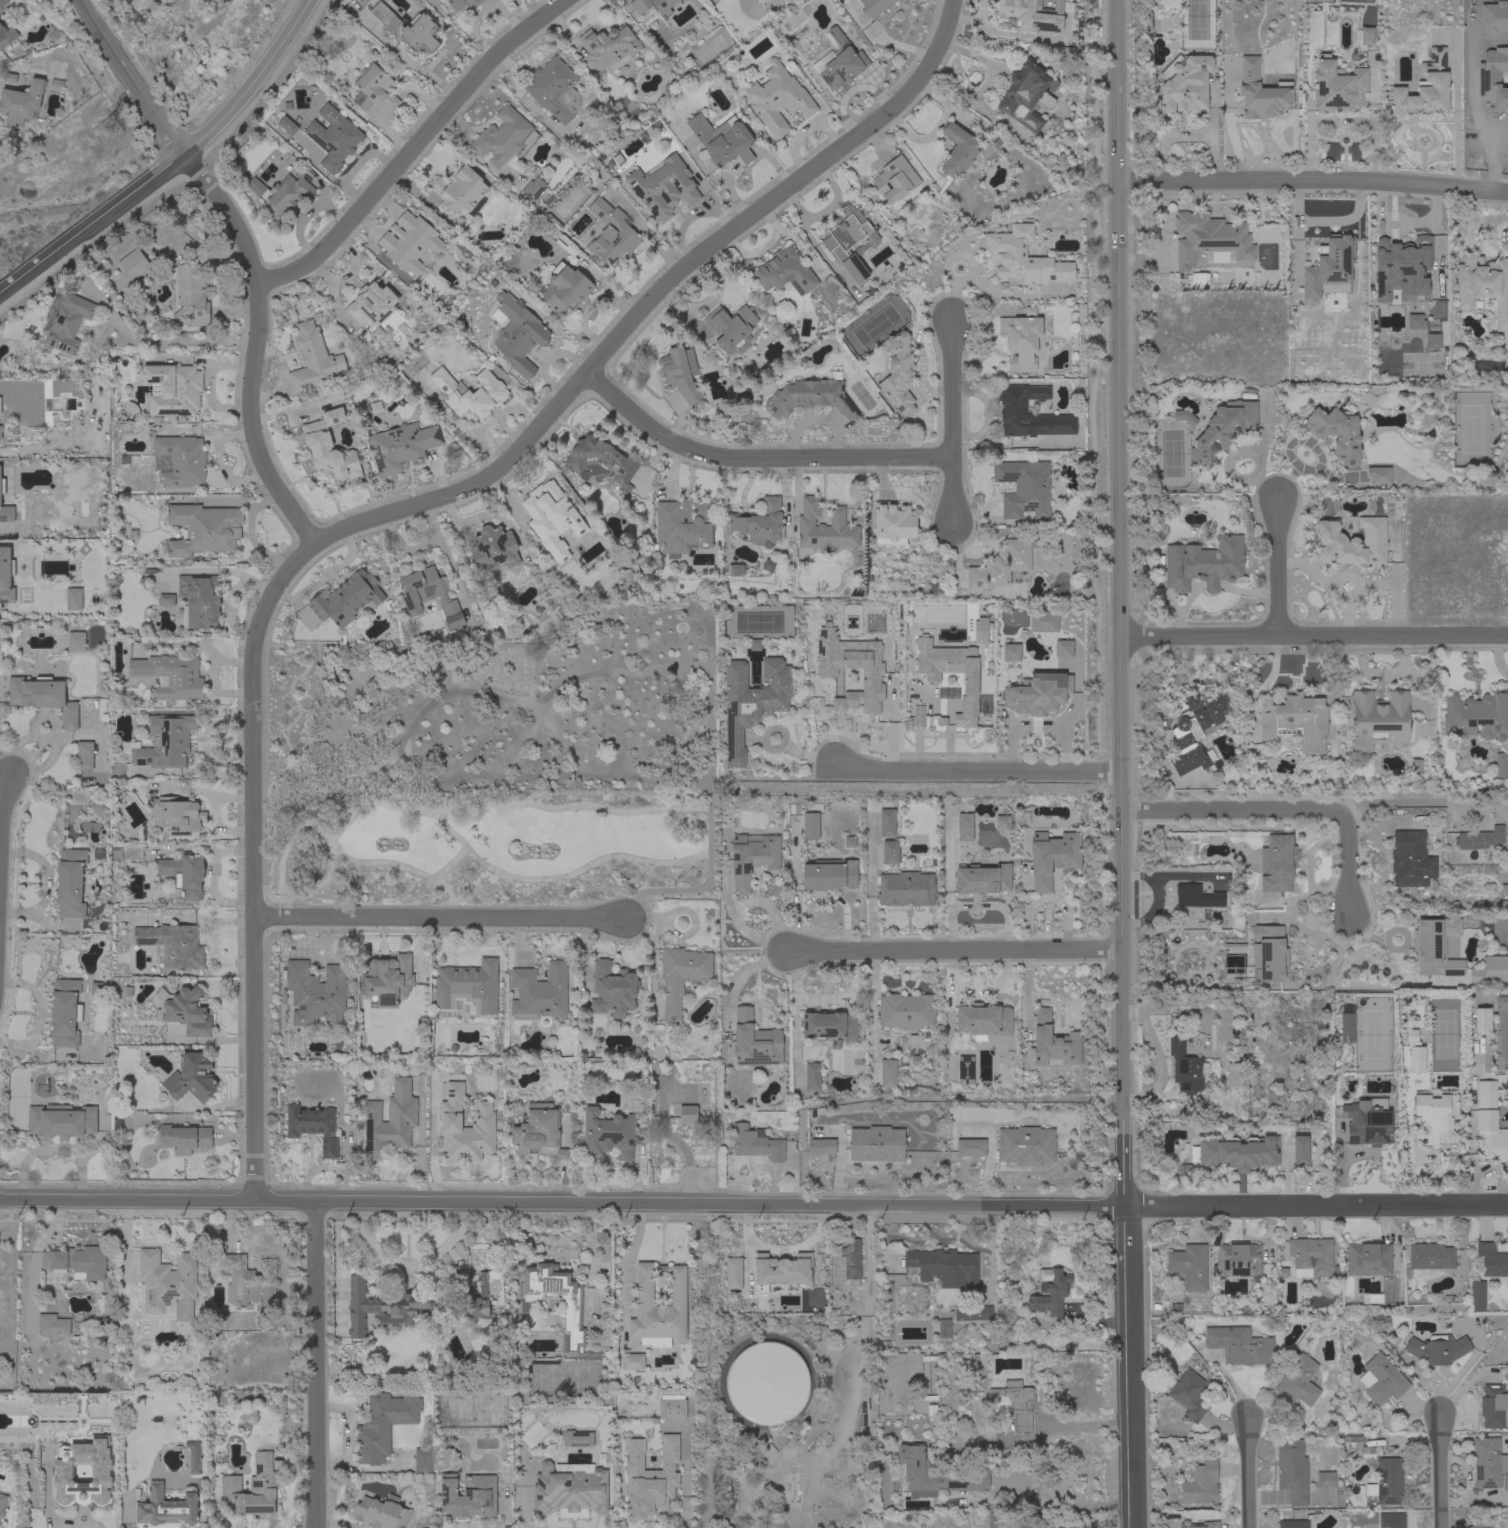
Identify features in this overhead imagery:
building: (2, 2)
building: (462, 3)
building: (874, 7)
building: (662, 11)
building: (1027, 15)
building: (408, 29)
building: (6, 36)
building: (1364, 36)
building: (609, 47)
building: (838, 61)
road: (130, 77)
building: (1184, 84)
building: (1337, 86)
building: (1424, 89)
building: (554, 90)
building: (375, 91)
building: (1260, 92)
building: (1027, 95)
building: (777, 99)
building: (21, 103)
road: (1340, 120)
building: (287, 126)
power tower: (106, 132)
building: (333, 138)
building: (504, 138)
building: (722, 141)
road: (412, 146)
building: (957, 151)
road: (172, 161)
building: (894, 180)
road: (1311, 181)
building: (663, 187)
building: (533, 189)
road: (199, 190)
building: (459, 191)
building: (285, 196)
road: (1322, 222)
road: (643, 229)
building: (611, 233)
building: (1210, 239)
building: (849, 241)
building: (408, 243)
building: (1023, 258)
building: (1329, 264)
building: (134, 265)
building: (1401, 268)
building: (784, 273)
building: (1483, 286)
building: (565, 288)
building: (190, 294)
road: (647, 299)
building: (372, 305)
building: (65, 322)
building: (731, 329)
building: (517, 335)
building: (1432, 341)
building: (1025, 342)
building: (312, 360)
building: (679, 373)
building: (898, 373)
building: (172, 389)
building: (470, 393)
building: (810, 397)
building: (1014, 410)
building: (1184, 417)
road: (953, 424)
building: (1223, 429)
building: (1336, 433)
building: (329, 446)
building: (401, 446)
road: (756, 458)
building: (178, 461)
building: (600, 462)
building: (1378, 475)
building: (2, 486)
building: (1024, 488)
building: (6, 514)
building: (551, 519)
building: (760, 523)
building: (893, 524)
building: (683, 526)
building: (824, 528)
building: (203, 530)
building: (1351, 543)
building: (493, 549)
building: (1203, 564)
building: (1000, 565)
road: (1279, 567)
road: (220, 570)
building: (6, 576)
building: (429, 596)
building: (73, 599)
building: (346, 600)
building: (164, 601)
building: (199, 601)
building: (1042, 622)
road: (1314, 635)
building: (75, 642)
building: (850, 646)
building: (1062, 649)
road: (249, 652)
building: (1010, 652)
building: (870, 673)
building: (170, 676)
building: (968, 678)
building: (1036, 693)
building: (43, 697)
building: (751, 703)
building: (916, 716)
building: (1477, 716)
building: (1378, 720)
building: (1297, 722)
building: (1195, 732)
building: (163, 742)
building: (84, 756)
road: (1121, 763)
park: (498, 765)
building: (1501, 765)
building: (1415, 766)
road: (974, 770)
road: (5, 796)
road: (1405, 803)
building: (97, 808)
road: (1284, 811)
building: (176, 815)
building: (887, 823)
building: (1001, 823)
building: (810, 825)
building: (964, 827)
building: (1480, 839)
building: (890, 852)
building: (1052, 857)
building: (751, 858)
building: (1409, 859)
building: (1277, 863)
building: (183, 874)
building: (829, 875)
building: (982, 879)
building: (70, 883)
building: (906, 889)
building: (1198, 897)
building: (1207, 914)
road: (440, 917)
road: (186, 919)
building: (172, 945)
building: (1429, 947)
road: (955, 951)
building: (1269, 954)
building: (1489, 971)
road: (743, 973)
building: (680, 976)
building: (387, 979)
building: (468, 987)
building: (613, 989)
building: (315, 993)
building: (539, 993)
building: (184, 1011)
building: (906, 1011)
building: (63, 1013)
building: (984, 1020)
building: (1482, 1021)
building: (829, 1026)
building: (1346, 1028)
building: (1410, 1036)
building: (753, 1042)
building: (1052, 1043)
building: (1416, 1059)
building: (1185, 1068)
building: (965, 1069)
building: (887, 1073)
building: (1234, 1075)
building: (812, 1076)
building: (190, 1078)
building: (629, 1100)
building: (1436, 1111)
building: (687, 1114)
building: (450, 1117)
building: (61, 1121)
building: (390, 1121)
building: (1367, 1122)
building: (1489, 1125)
building: (312, 1126)
building: (538, 1133)
building: (608, 1135)
building: (184, 1138)
building: (756, 1143)
building: (876, 1144)
building: (1025, 1146)
building: (821, 1147)
building: (970, 1147)
building: (1299, 1150)
building: (1236, 1152)
road: (562, 1204)
road: (1316, 1206)
building: (851, 1257)
building: (1310, 1257)
building: (1368, 1258)
building: (1429, 1258)
building: (1491, 1261)
building: (76, 1262)
building: (1238, 1262)
building: (1189, 1266)
building: (945, 1268)
building: (731, 1273)
building: (249, 1281)
building: (166, 1286)
building: (1054, 1288)
building: (1477, 1296)
building: (556, 1298)
building: (476, 1305)
building: (382, 1306)
building: (658, 1309)
building: (972, 1313)
building: (52, 1325)
building: (943, 1328)
building: (1239, 1346)
building: (1437, 1349)
building: (632, 1361)
road: (313, 1365)
building: (1381, 1380)
building: (1298, 1381)
building: (767, 1383)
storage tank: (767, 1383)
building: (1188, 1394)
building: (1012, 1403)
building: (1492, 1406)
building: (672, 1407)
building: (826, 1409)
storage tank: (826, 1409)
building: (383, 1424)
road: (1075, 1425)
building: (577, 1439)
building: (1360, 1448)
building: (193, 1457)
building: (422, 1460)
building: (1488, 1463)
building: (792, 1466)
storage tank: (792, 1466)
building: (1292, 1471)
road: (1440, 1471)
building: (62, 1473)
building: (964, 1473)
road: (1248, 1474)
building: (650, 1477)
building: (1325, 1480)
building: (1386, 1482)
building: (1505, 1482)
building: (1200, 1484)
building: (570, 1488)
building: (252, 1489)
building: (468, 1496)
road: (1041, 1501)
building: (2, 1504)
building: (166, 1508)
building: (381, 1513)
building: (1391, 1520)
building: (1003, 1521)
building: (1293, 1524)
building: (1203, 1525)

